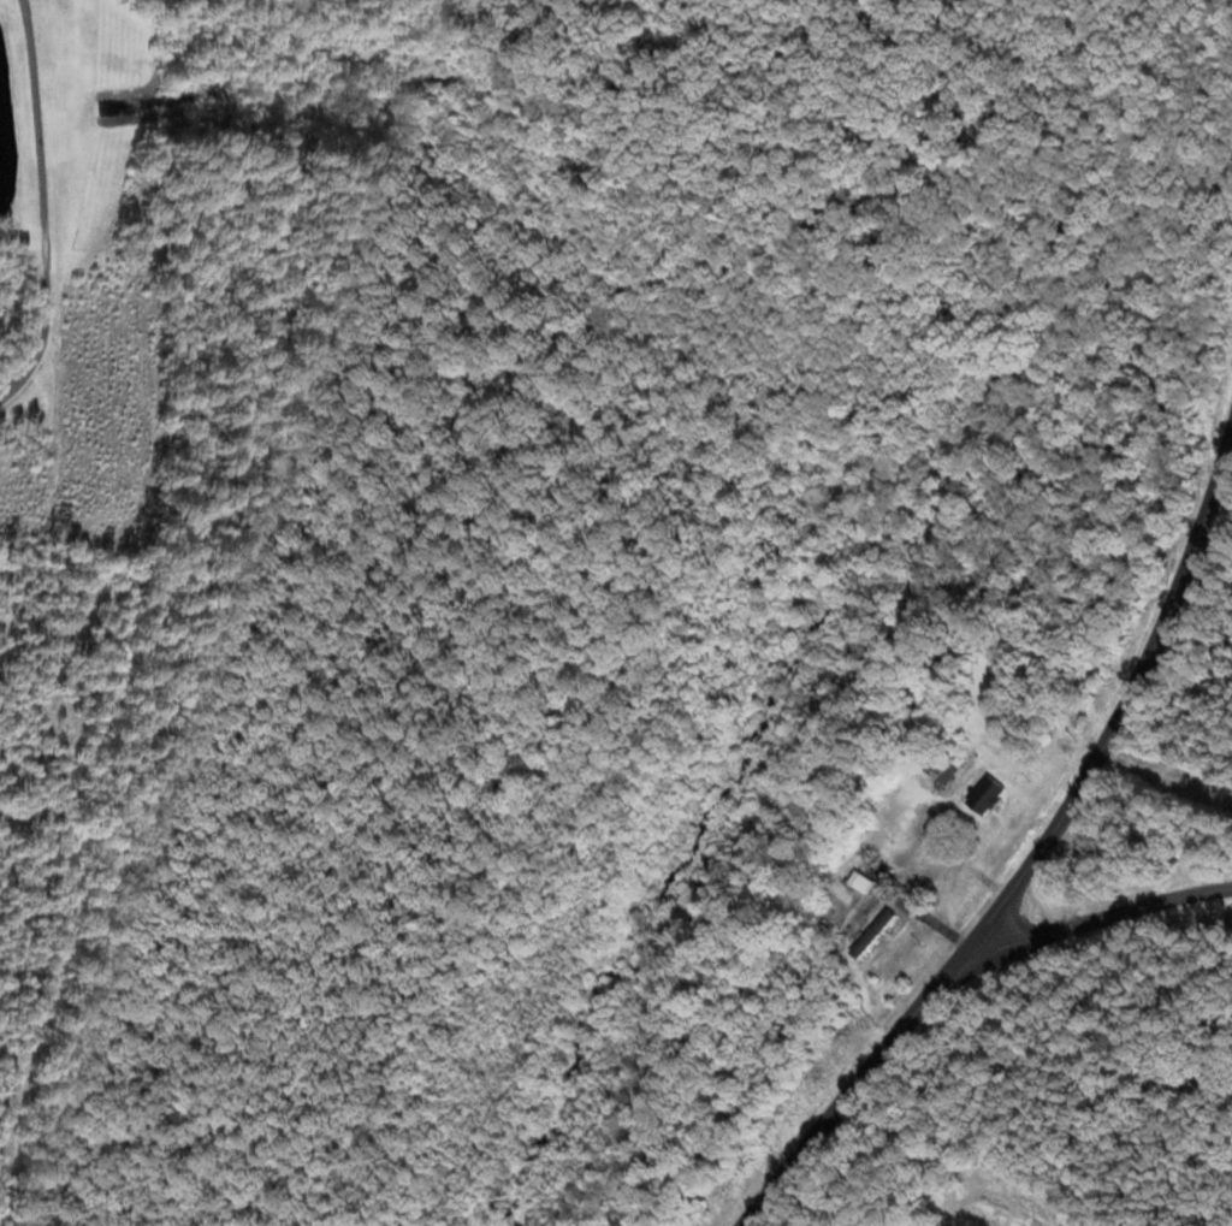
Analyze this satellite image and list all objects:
road: (29, 12)
road: (45, 221)
building: (1038, 713)
building: (940, 771)
building: (987, 795)
road: (1035, 864)
building: (875, 934)
road: (1084, 934)

